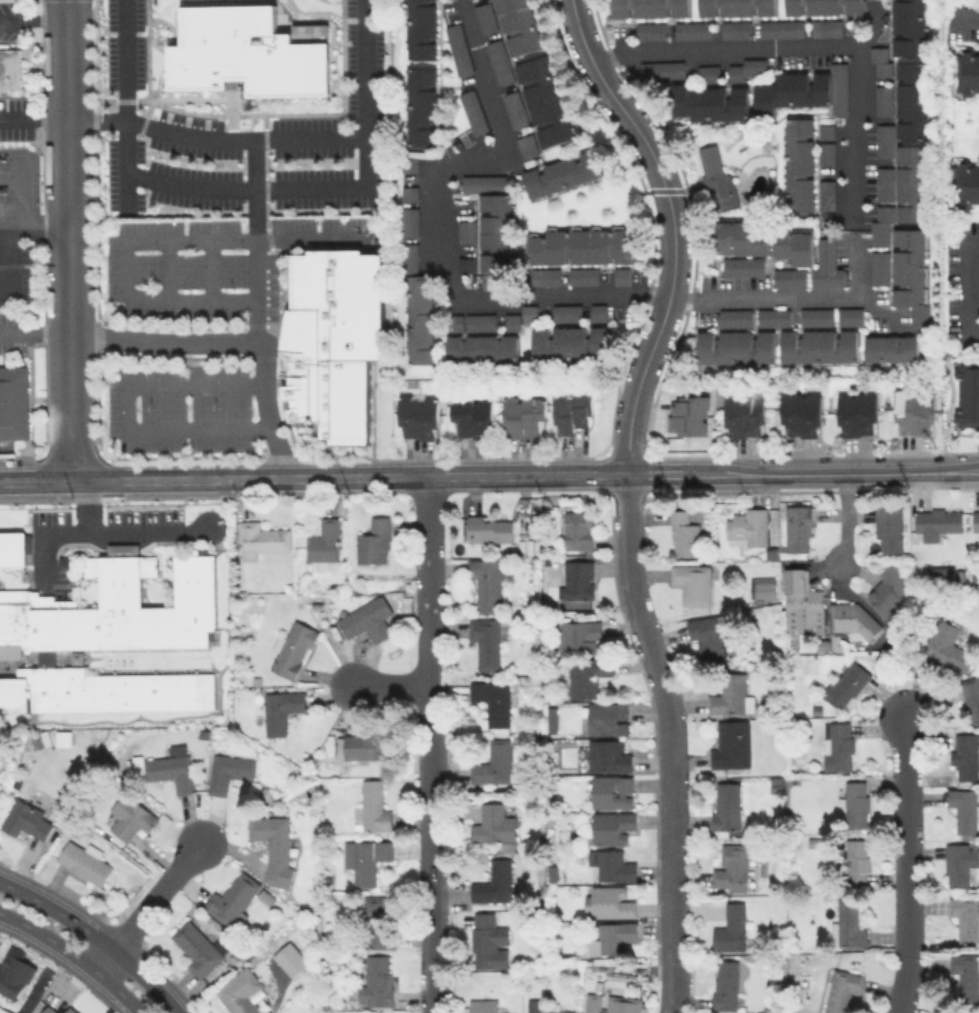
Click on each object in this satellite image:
building: (736, 7)
building: (822, 7)
building: (649, 8)
building: (484, 17)
road: (964, 17)
road: (33, 21)
building: (519, 25)
building: (825, 27)
building: (908, 27)
building: (781, 28)
building: (420, 29)
building: (735, 29)
building: (649, 30)
building: (692, 30)
road: (874, 30)
road: (807, 47)
building: (458, 48)
building: (248, 51)
building: (879, 60)
building: (498, 61)
building: (9, 68)
building: (746, 68)
building: (660, 69)
building: (967, 72)
building: (707, 73)
building: (838, 87)
building: (791, 92)
building: (543, 100)
building: (882, 100)
building: (911, 100)
building: (709, 102)
building: (420, 105)
road: (124, 106)
building: (513, 109)
building: (472, 111)
road: (34, 116)
road: (215, 135)
parking lot: (234, 137)
building: (883, 140)
building: (526, 144)
building: (826, 144)
building: (798, 165)
building: (563, 173)
building: (484, 183)
building: (903, 183)
building: (967, 183)
road: (336, 186)
building: (718, 187)
building: (409, 193)
building: (825, 194)
building: (882, 213)
building: (408, 221)
road: (672, 227)
building: (465, 231)
building: (495, 233)
building: (878, 233)
road: (7, 236)
road: (437, 237)
road: (69, 239)
road: (254, 239)
road: (155, 241)
building: (765, 241)
building: (582, 244)
building: (409, 256)
parking lot: (200, 264)
building: (465, 264)
building: (741, 265)
building: (826, 265)
building: (878, 267)
road: (167, 270)
road: (211, 270)
building: (978, 270)
building: (908, 273)
building: (621, 275)
building: (544, 276)
building: (583, 276)
building: (788, 277)
road: (967, 285)
road: (799, 295)
road: (873, 306)
building: (528, 312)
building: (565, 312)
building: (597, 312)
building: (848, 316)
building: (734, 317)
building: (772, 317)
building: (815, 317)
building: (419, 318)
building: (509, 321)
road: (35, 333)
building: (332, 339)
road: (232, 340)
building: (477, 340)
building: (569, 344)
building: (817, 346)
building: (735, 347)
building: (890, 348)
building: (965, 393)
building: (13, 401)
parking lot: (177, 407)
road: (126, 409)
building: (571, 409)
building: (913, 411)
building: (856, 412)
building: (743, 413)
building: (799, 413)
building: (471, 414)
building: (520, 414)
building: (688, 414)
building: (416, 416)
road: (942, 469)
road: (832, 471)
road: (691, 472)
road: (581, 473)
road: (378, 476)
road: (109, 478)
road: (85, 503)
road: (846, 516)
building: (975, 519)
building: (936, 522)
building: (746, 526)
building: (488, 527)
building: (797, 528)
building: (887, 529)
building: (577, 530)
road: (102, 532)
building: (682, 534)
building: (258, 539)
building: (373, 540)
building: (323, 543)
building: (13, 547)
building: (575, 580)
building: (691, 582)
building: (486, 583)
building: (762, 586)
building: (886, 589)
building: (801, 603)
building: (365, 619)
building: (852, 620)
building: (109, 635)
building: (577, 636)
building: (708, 636)
building: (484, 641)
building: (946, 646)
building: (292, 649)
building: (75, 657)
building: (586, 675)
building: (845, 684)
road: (392, 685)
building: (730, 695)
building: (971, 697)
building: (491, 700)
building: (279, 709)
building: (607, 717)
building: (550, 719)
road: (670, 721)
road: (430, 744)
building: (360, 745)
building: (730, 745)
building: (836, 745)
building: (608, 755)
building: (964, 755)
building: (492, 762)
building: (170, 767)
building: (227, 771)
building: (0, 790)
building: (611, 791)
building: (855, 804)
building: (370, 808)
building: (725, 808)
building: (963, 809)
building: (129, 817)
building: (26, 819)
building: (492, 824)
building: (608, 827)
building: (272, 846)
building: (365, 859)
building: (856, 860)
building: (83, 861)
road: (906, 863)
building: (959, 863)
building: (611, 865)
building: (730, 869)
building: (493, 882)
building: (232, 898)
building: (607, 901)
road: (149, 907)
road: (1, 913)
building: (964, 915)
building: (377, 921)
building: (846, 925)
building: (729, 928)
road: (96, 937)
building: (611, 937)
building: (485, 938)
building: (197, 947)
road: (75, 957)
building: (290, 959)
building: (14, 971)
building: (965, 975)
building: (375, 981)
building: (725, 983)
building: (841, 989)
building: (238, 991)
road: (673, 995)
building: (610, 1003)
building: (483, 1006)
building: (49, 1009)
building: (69, 1010)
building: (548, 1010)

